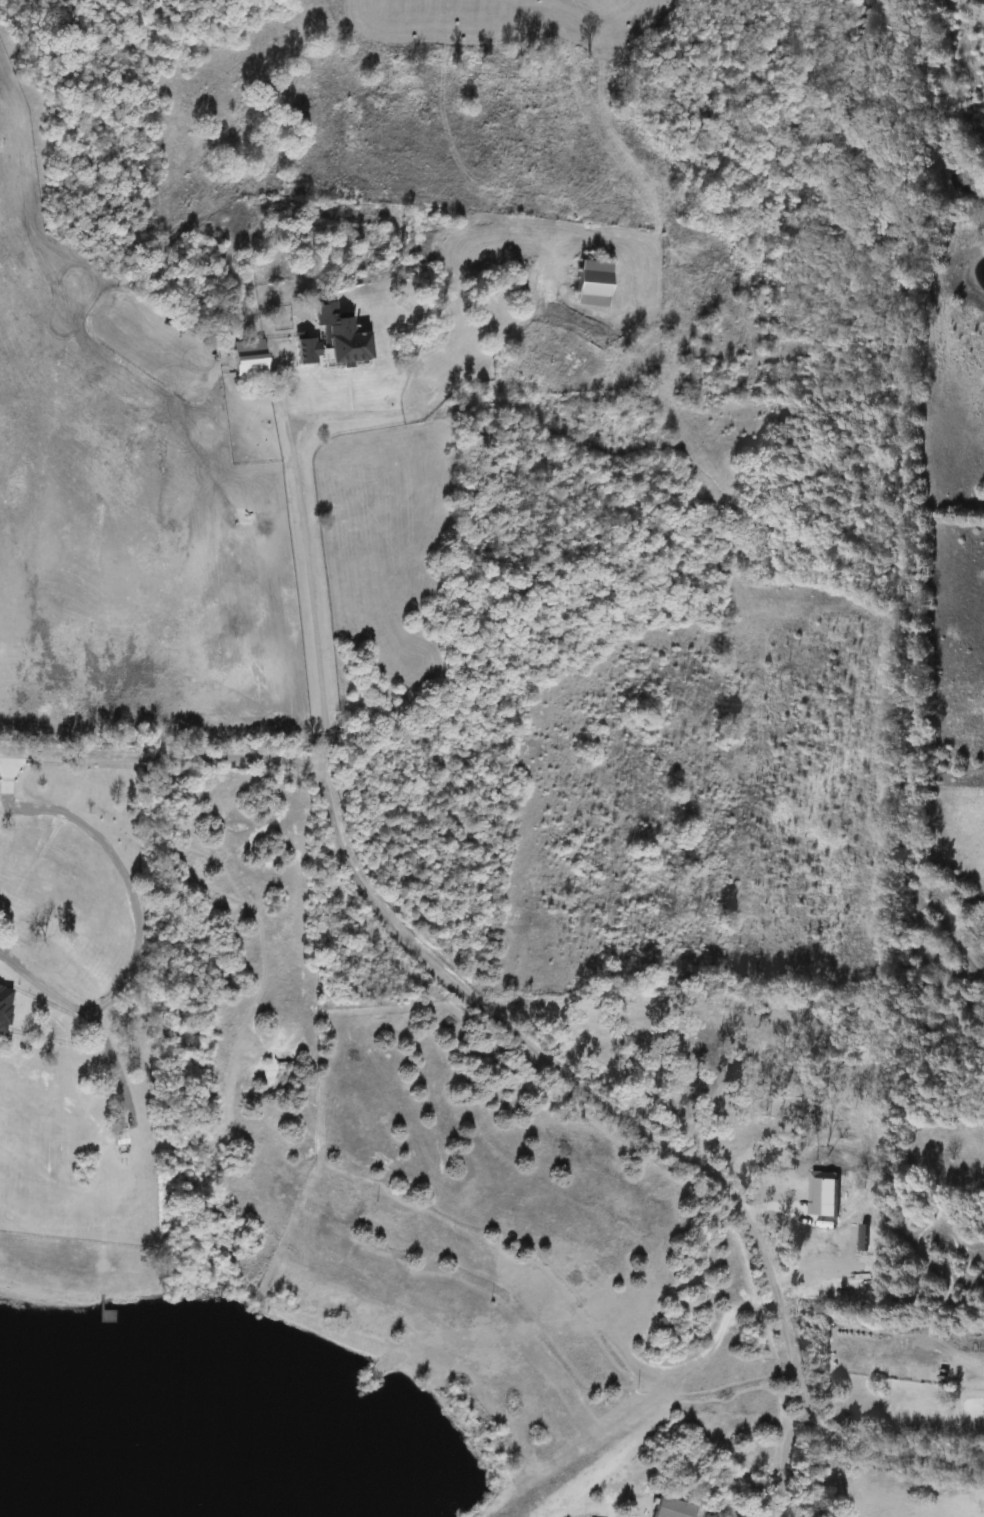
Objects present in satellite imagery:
building: (585, 284)
building: (336, 337)
building: (300, 351)
building: (245, 360)
road: (293, 447)
road: (129, 926)
building: (5, 945)
building: (5, 1013)
road: (531, 1046)
road: (115, 1066)
building: (117, 1139)
road: (779, 1464)
building: (671, 1509)

